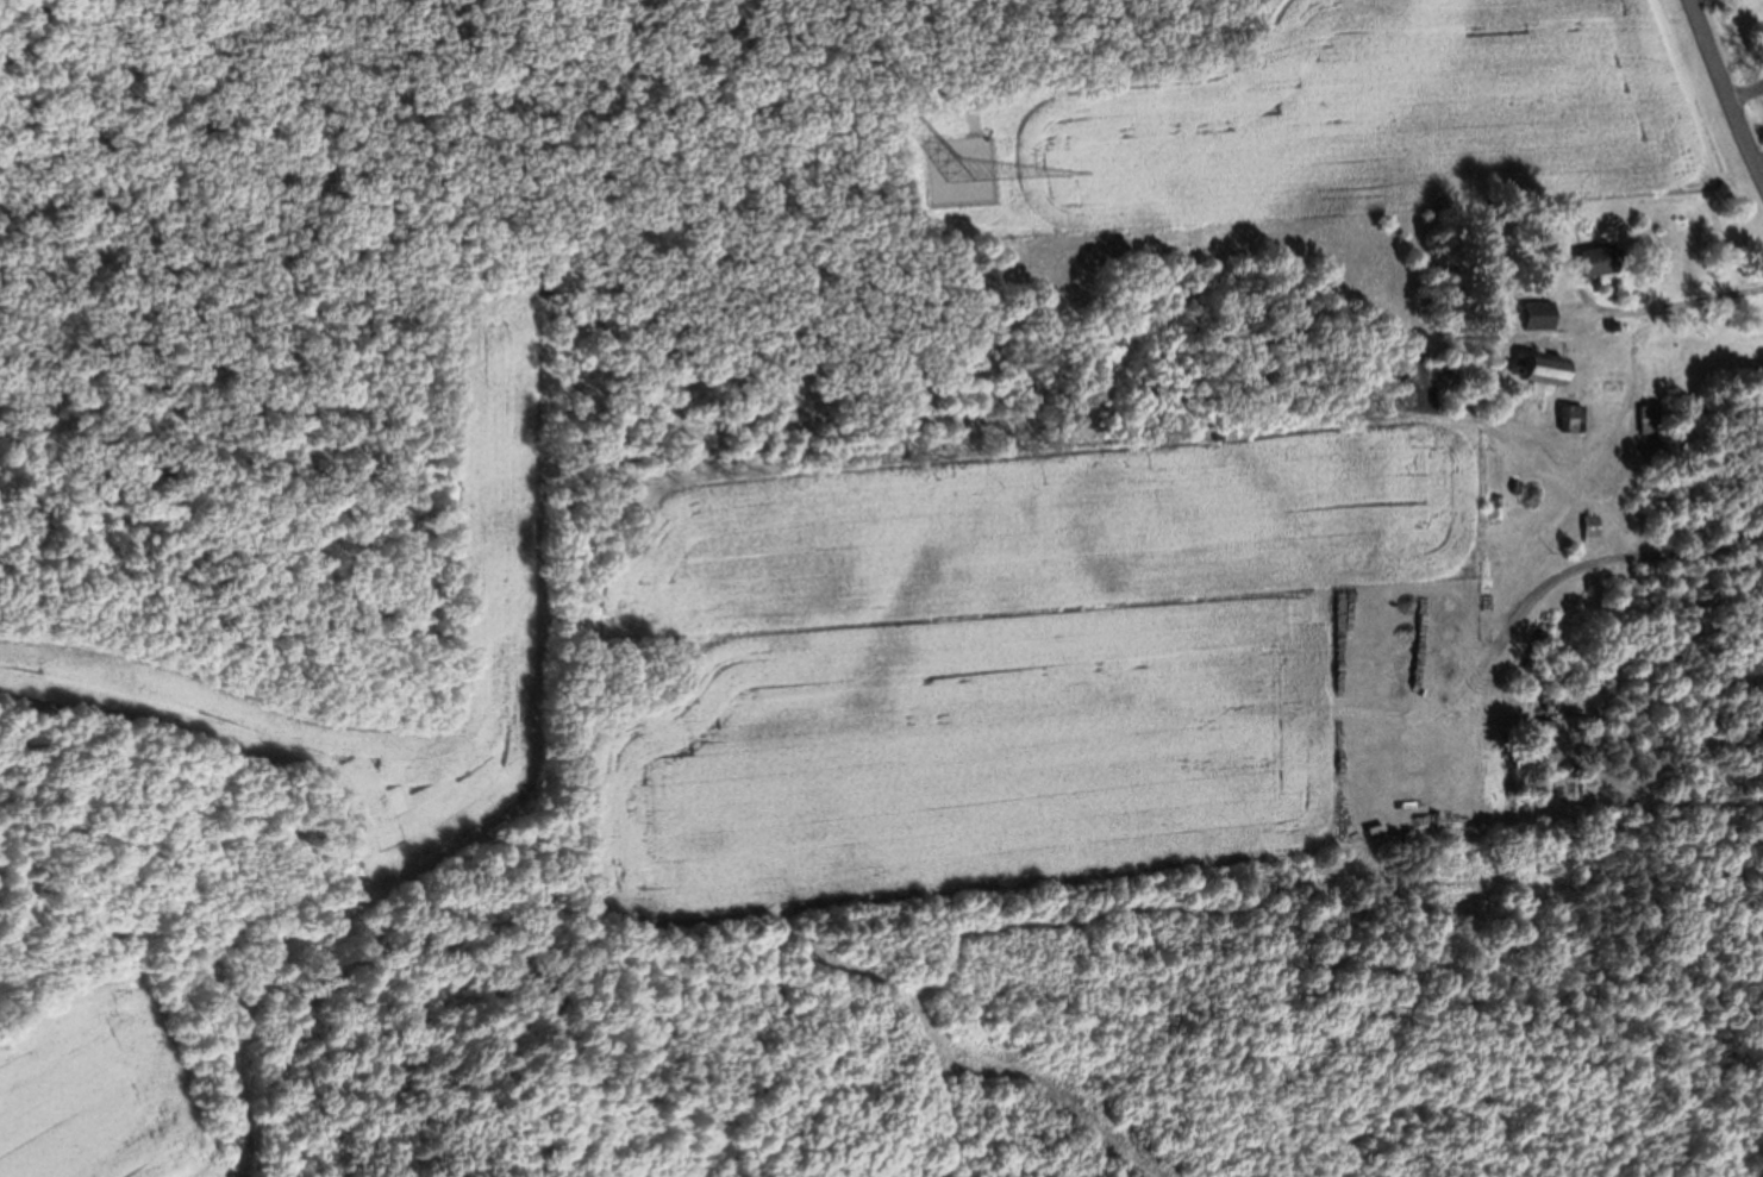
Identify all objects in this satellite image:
road: (1724, 92)
building: (1606, 263)
road: (1668, 302)
building: (1548, 318)
building: (1558, 372)
building: (1578, 421)
building: (1656, 422)
building: (1599, 530)

